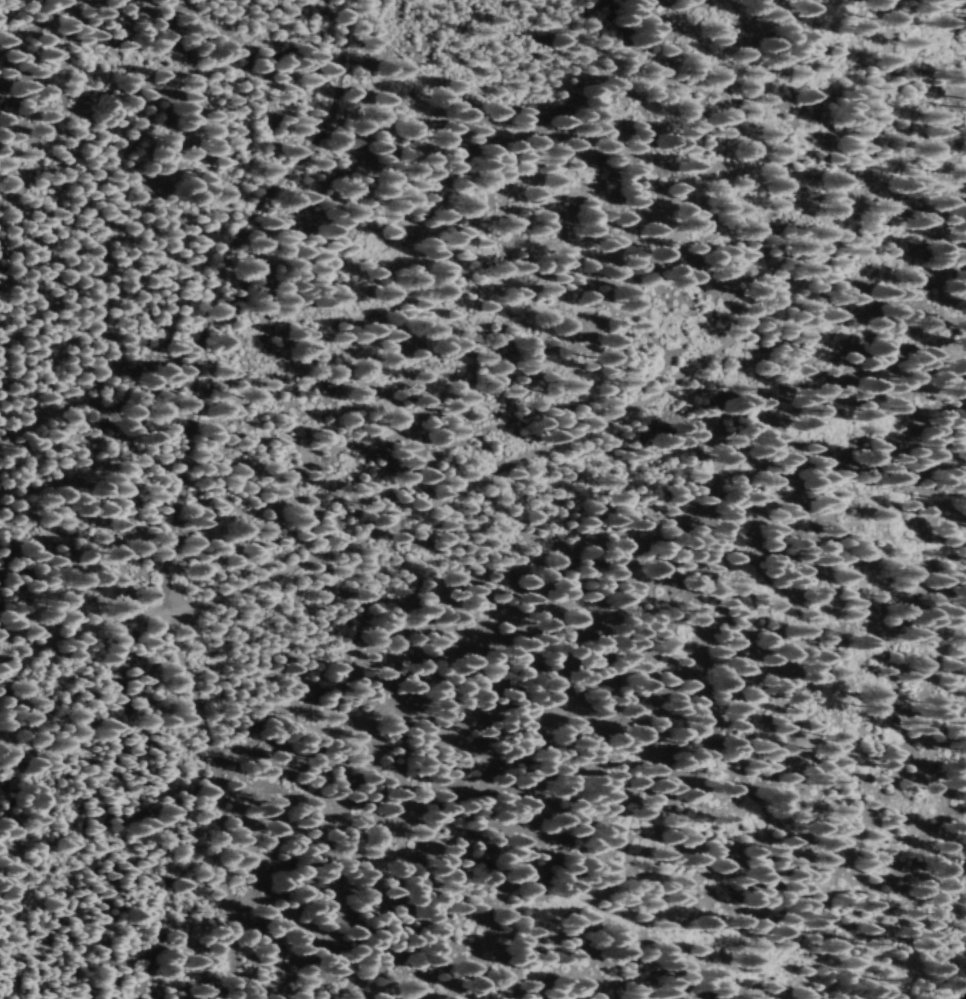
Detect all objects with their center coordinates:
road: (240, 343)
road: (1, 385)
road: (569, 480)
road: (158, 556)

